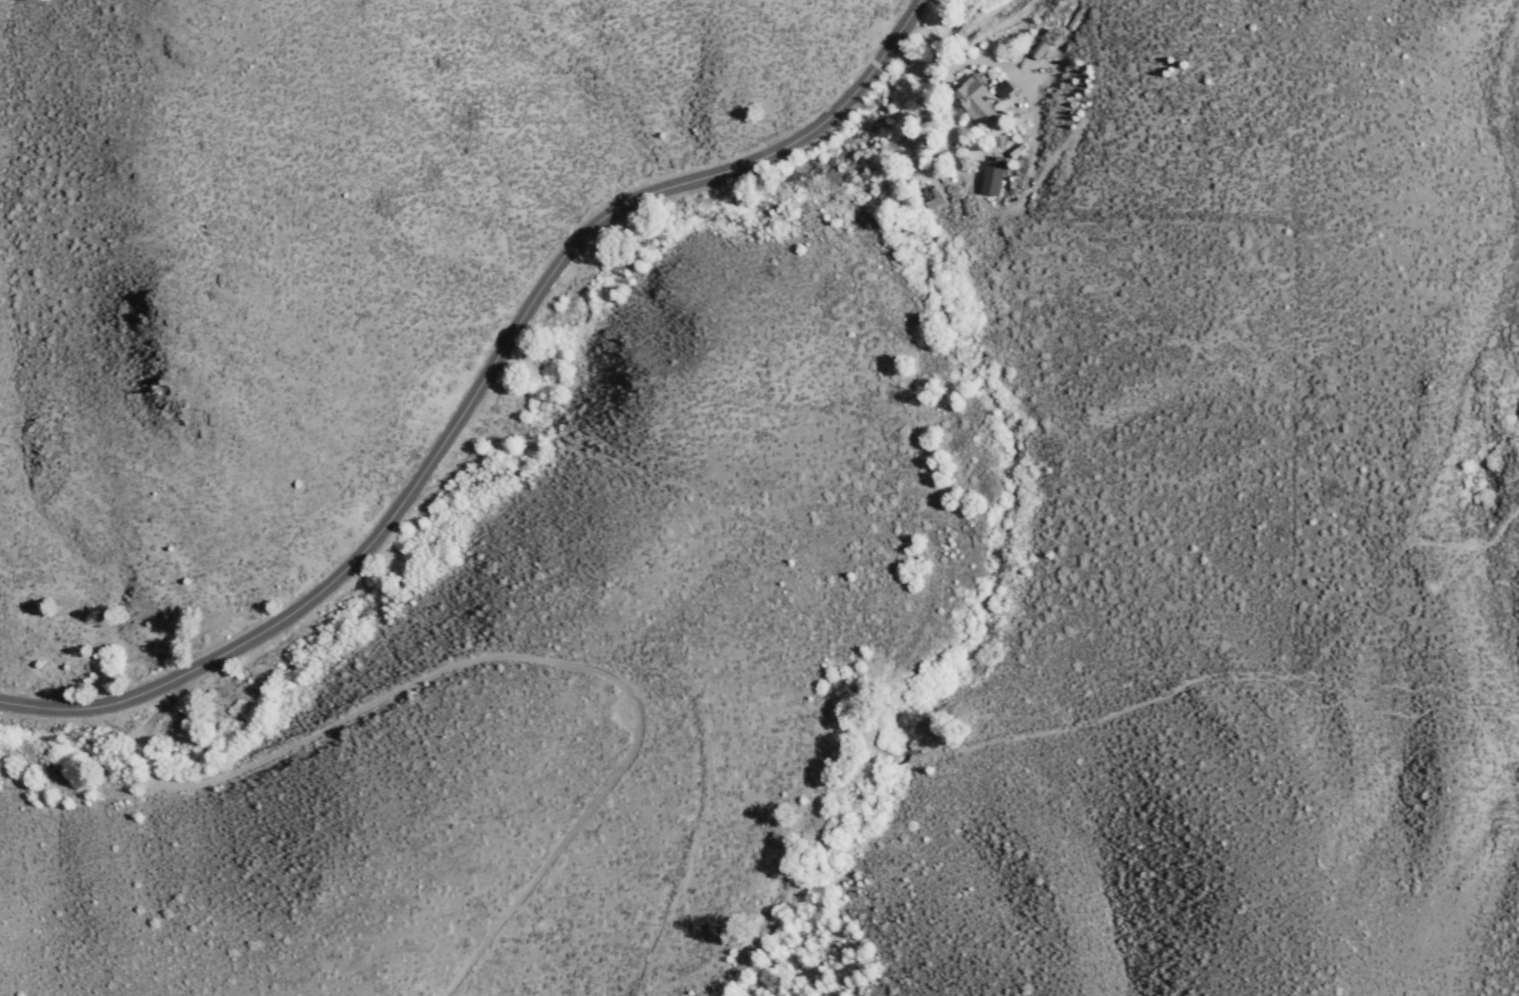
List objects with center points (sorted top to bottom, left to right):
road: (1022, 73)
building: (974, 99)
building: (994, 176)
road: (478, 389)
road: (1460, 394)
road: (505, 654)
road: (1083, 718)

